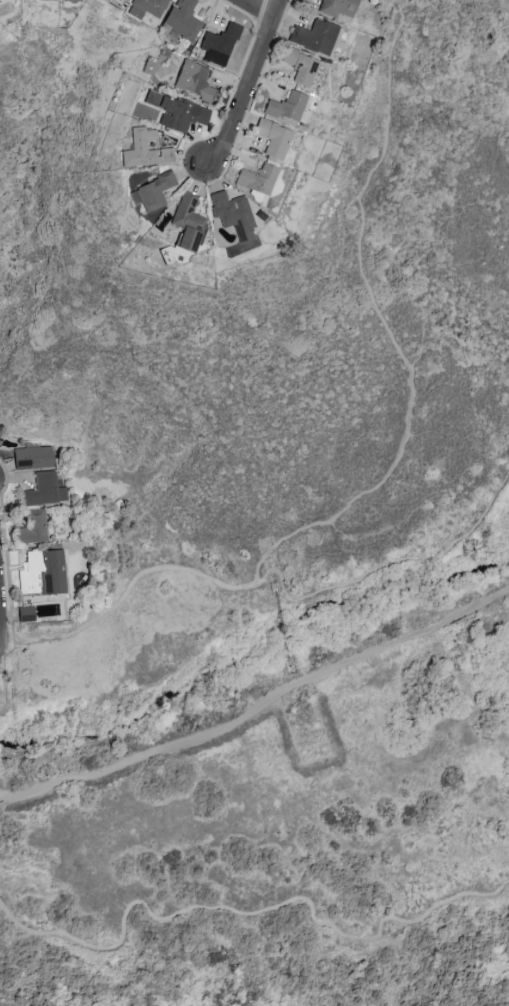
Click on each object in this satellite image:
building: (104, 0)
building: (121, 0)
building: (146, 7)
building: (336, 8)
road: (253, 9)
building: (181, 19)
building: (313, 36)
building: (218, 44)
building: (300, 65)
building: (191, 79)
road: (245, 83)
road: (386, 103)
building: (286, 106)
building: (177, 112)
building: (272, 139)
building: (143, 149)
building: (260, 183)
building: (153, 191)
building: (232, 213)
building: (187, 222)
road: (309, 287)
road: (407, 301)
road: (406, 422)
building: (33, 458)
building: (44, 490)
road: (424, 497)
building: (30, 528)
building: (39, 579)
park: (267, 580)
road: (267, 584)
road: (0, 639)
road: (0, 645)
road: (0, 645)
road: (257, 703)
road: (252, 912)

